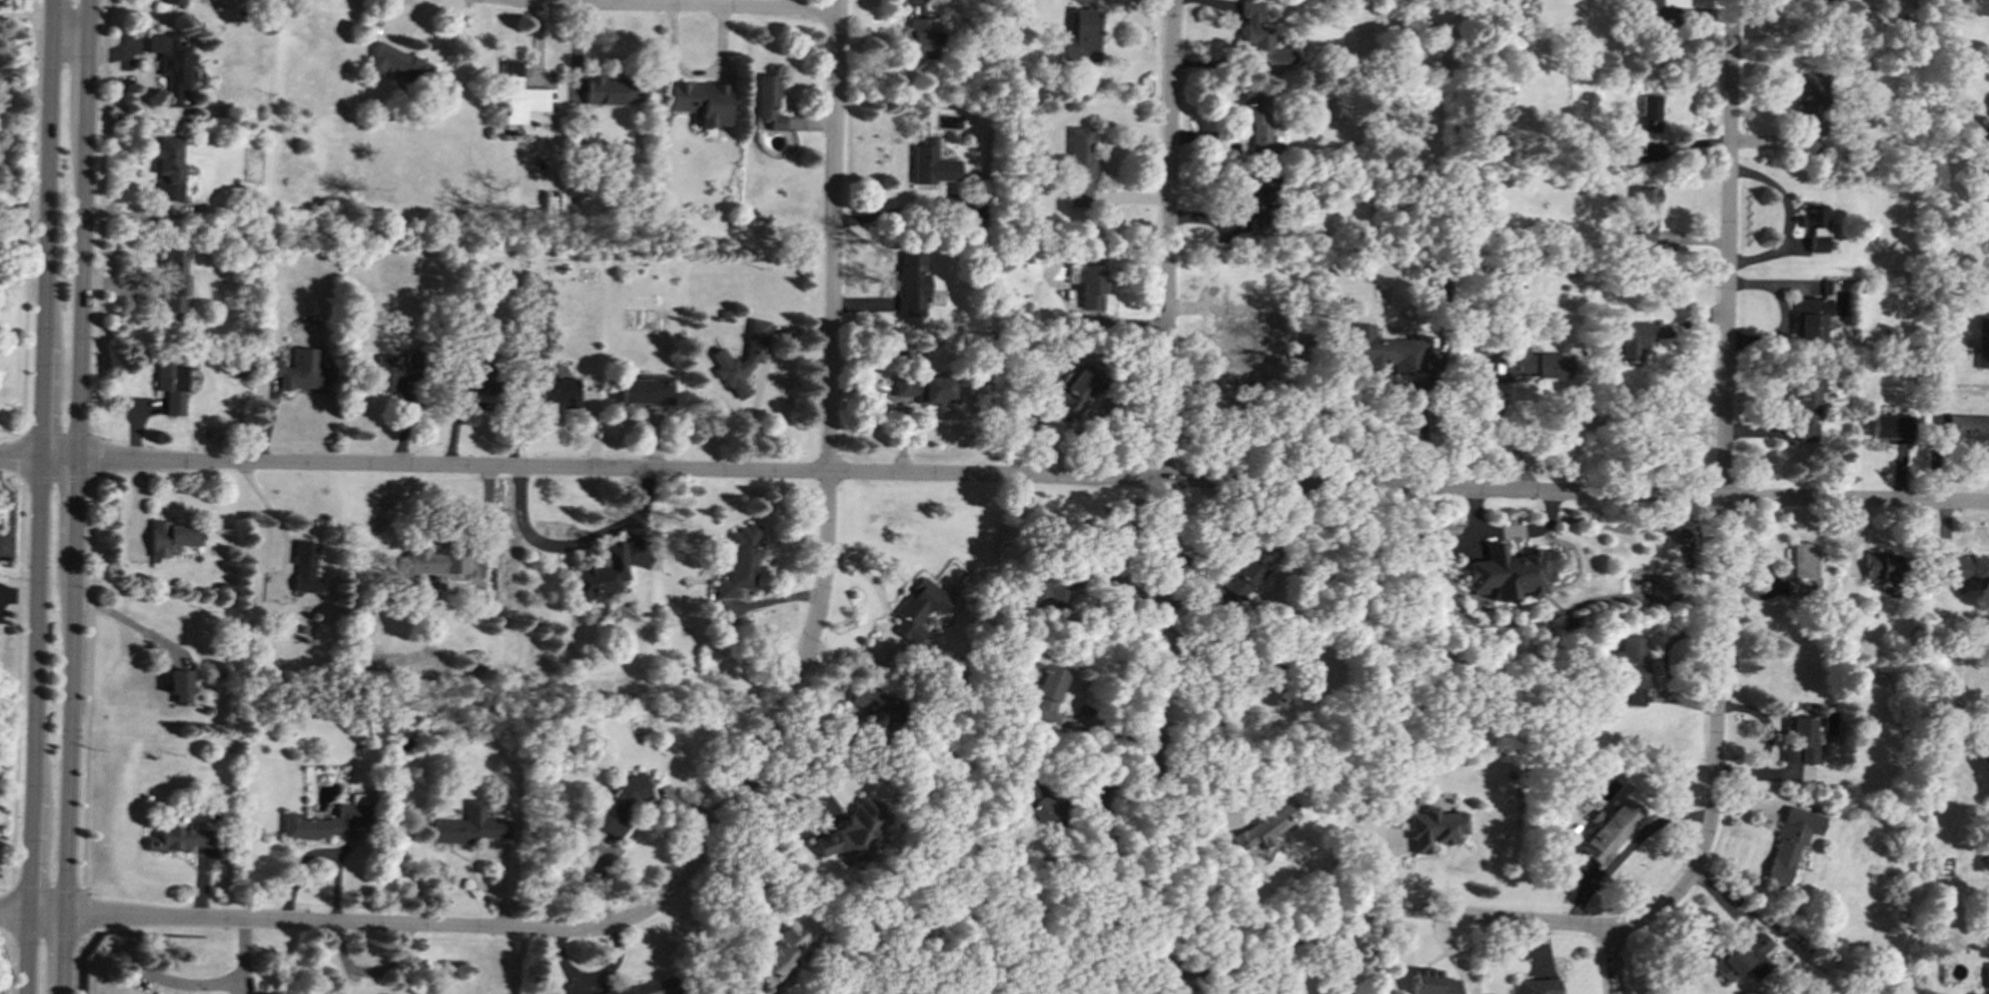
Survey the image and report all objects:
building: (173, 1)
road: (541, 1)
road: (621, 2)
road: (670, 6)
building: (1978, 7)
building: (1646, 10)
road: (26, 17)
building: (1261, 35)
building: (1082, 36)
building: (921, 38)
building: (171, 63)
building: (397, 63)
building: (610, 90)
building: (519, 95)
building: (700, 101)
building: (768, 102)
building: (1809, 108)
building: (1259, 121)
building: (1643, 123)
building: (1970, 127)
building: (932, 164)
building: (1081, 165)
building: (169, 169)
building: (951, 186)
building: (1254, 204)
road: (28, 216)
road: (100, 216)
building: (1641, 217)
building: (1814, 225)
building: (175, 281)
building: (911, 284)
building: (1091, 287)
building: (1236, 318)
building: (1808, 318)
building: (1633, 339)
building: (1982, 340)
building: (1388, 351)
building: (740, 359)
building: (1528, 364)
building: (298, 369)
building: (394, 370)
road: (760, 374)
building: (472, 377)
building: (171, 386)
building: (924, 389)
building: (644, 390)
building: (1075, 390)
building: (558, 392)
building: (1805, 407)
road: (1418, 413)
building: (1968, 427)
building: (1891, 428)
road: (32, 432)
road: (69, 432)
road: (1506, 438)
road: (22, 455)
road: (95, 456)
road: (994, 475)
road: (58, 479)
road: (826, 484)
road: (1164, 484)
road: (1721, 491)
road: (40, 496)
road: (77, 497)
building: (171, 537)
road: (572, 543)
building: (740, 561)
building: (428, 562)
building: (1880, 566)
building: (304, 567)
building: (1962, 567)
building: (1251, 568)
building: (1800, 570)
building: (1509, 572)
building: (599, 574)
building: (1049, 586)
building: (918, 608)
road: (133, 625)
building: (1632, 668)
road: (88, 683)
road: (17, 684)
road: (1237, 684)
building: (179, 685)
building: (1799, 739)
road: (1766, 740)
building: (1984, 751)
building: (622, 803)
building: (1039, 805)
building: (325, 820)
building: (1267, 823)
building: (468, 826)
building: (1435, 828)
building: (1610, 830)
road: (628, 835)
building: (179, 839)
building: (1790, 842)
road: (1626, 849)
building: (1986, 852)
road: (745, 873)
road: (22, 888)
road: (58, 888)
road: (11, 910)
road: (1381, 911)
road: (83, 912)
building: (1988, 916)
road: (320, 923)
road: (47, 935)
building: (780, 950)
road: (1092, 952)
building: (1743, 959)
road: (1335, 961)
road: (1614, 961)
road: (10, 964)
road: (82, 965)
road: (240, 973)
building: (1986, 975)
road: (1187, 982)
building: (1431, 982)
building: (1537, 986)
building: (646, 988)

